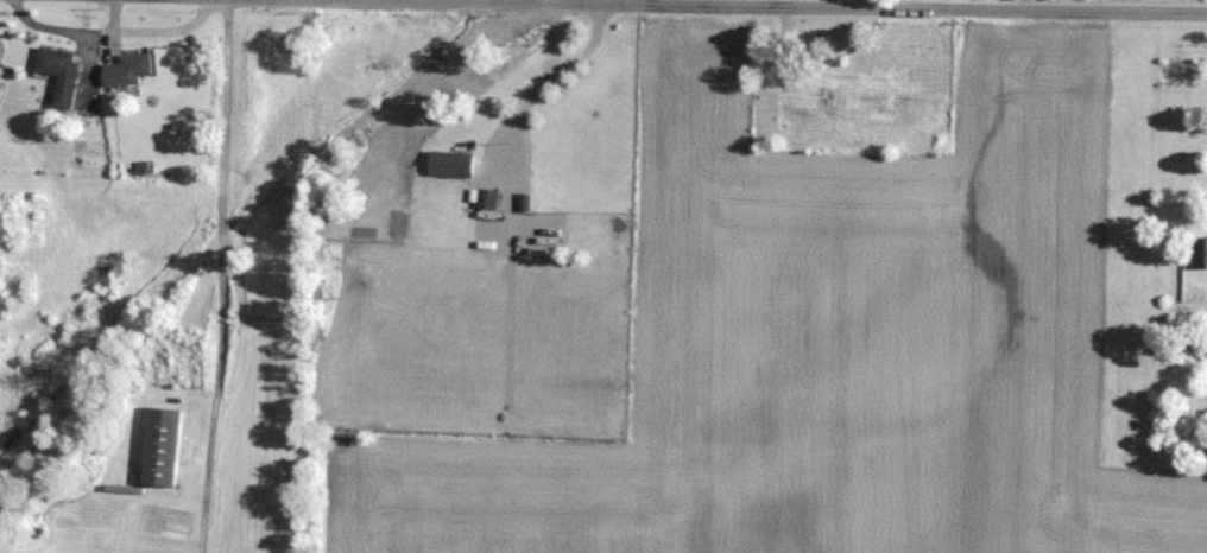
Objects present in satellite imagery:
road: (740, 6)
building: (134, 69)
building: (67, 74)
building: (814, 83)
road: (513, 117)
building: (454, 163)
building: (489, 198)
building: (1202, 252)
road: (217, 276)
building: (165, 446)

